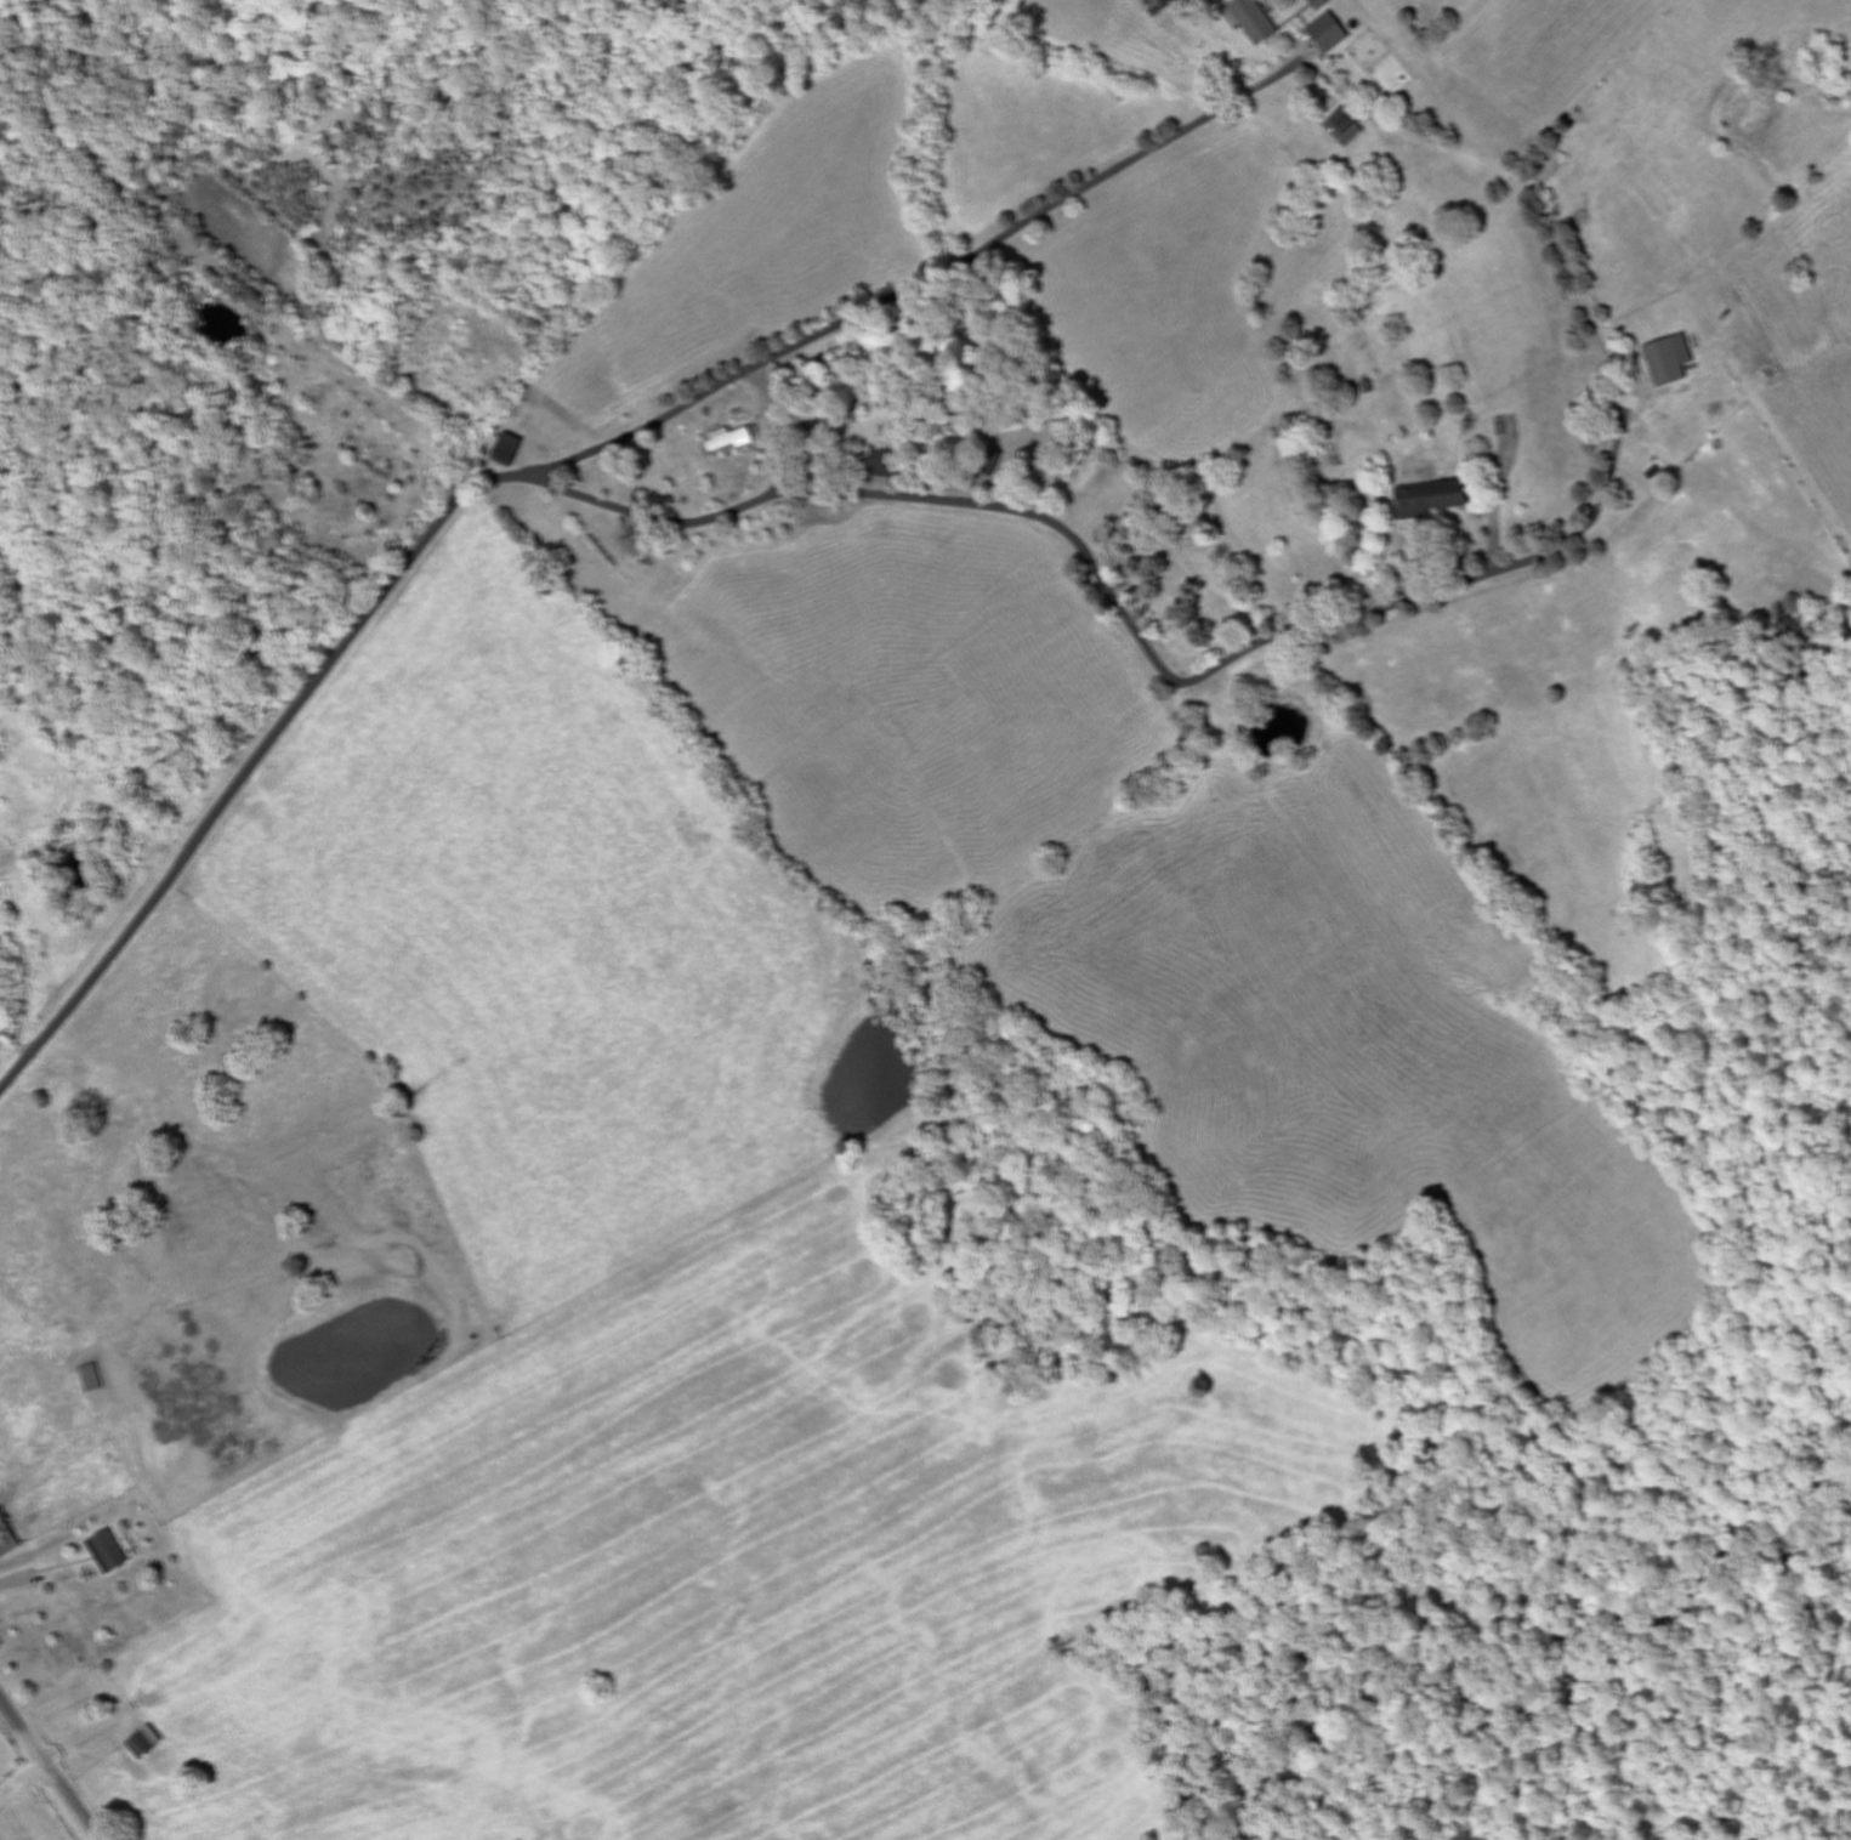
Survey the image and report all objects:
building: (1323, 4)
building: (1164, 5)
building: (1257, 19)
building: (1332, 33)
building: (1347, 124)
road: (926, 285)
building: (1673, 359)
building: (727, 441)
building: (512, 450)
building: (1437, 498)
road: (760, 500)
park: (1191, 579)
building: (93, 1379)
building: (112, 1551)
building: (1, 1556)
building: (149, 1743)
road: (51, 1768)

